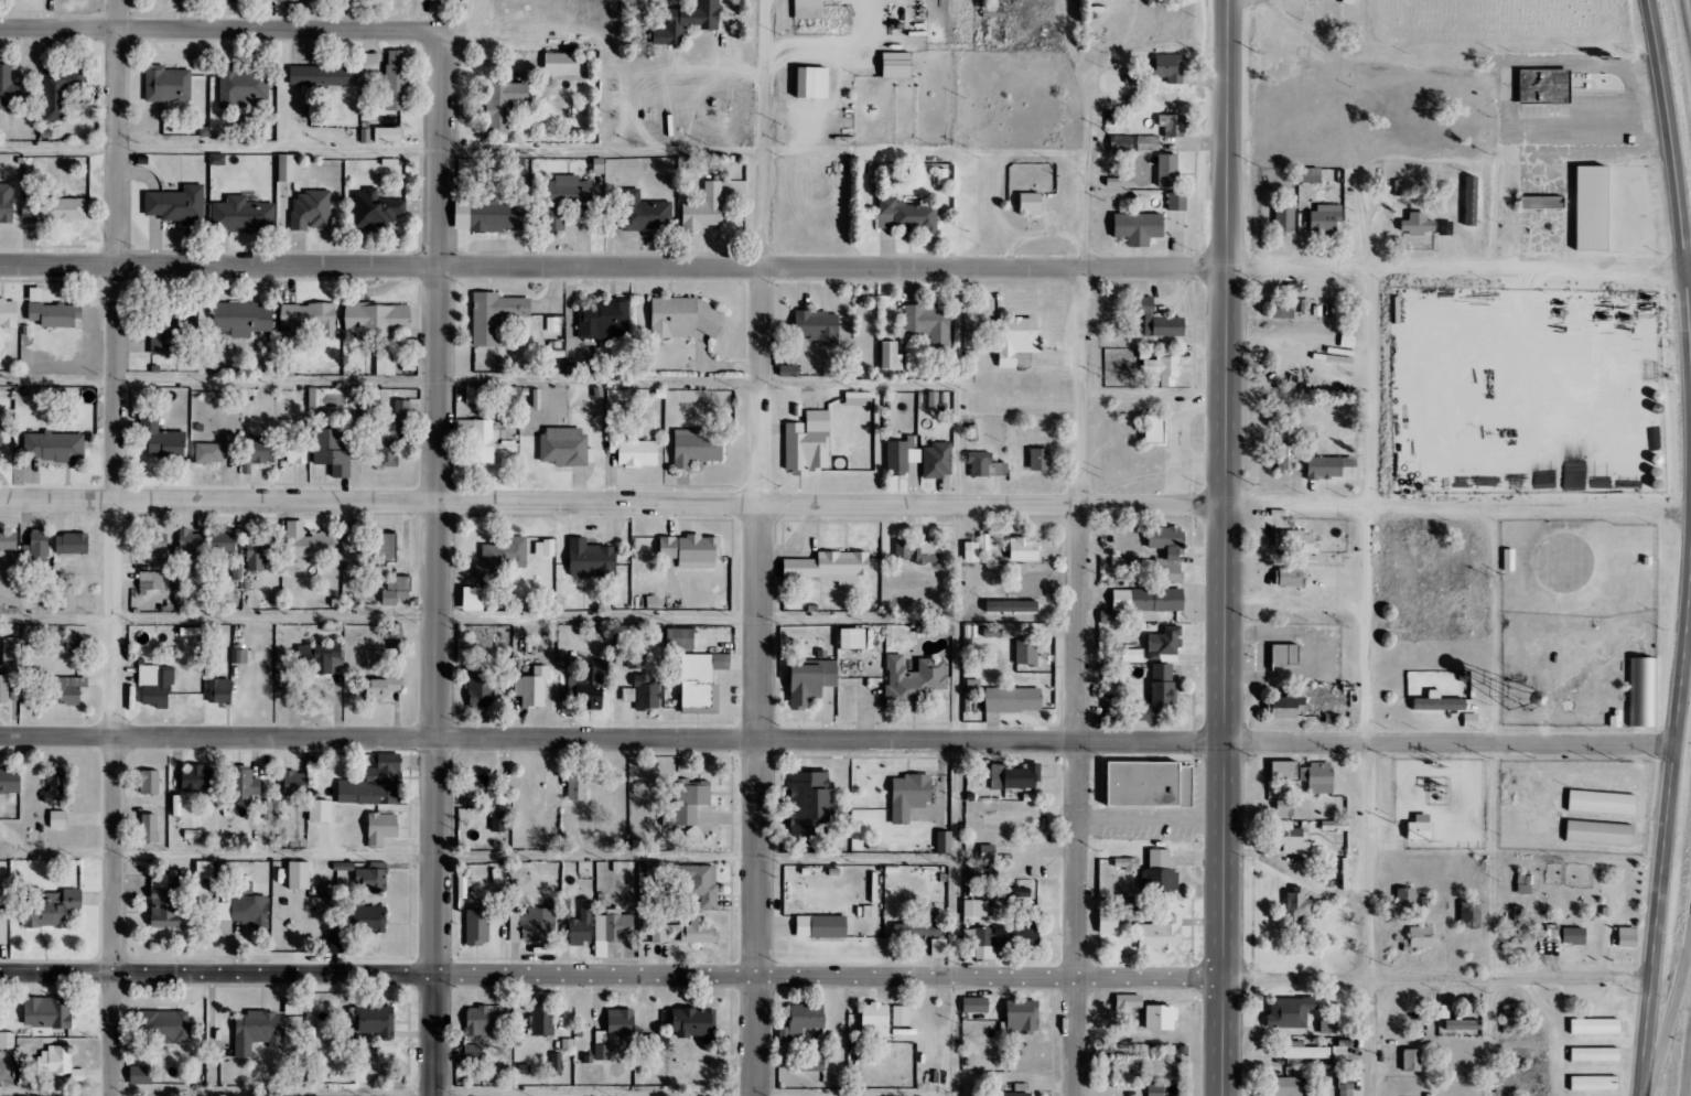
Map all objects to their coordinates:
building: (185, 1)
building: (1357, 4)
building: (817, 10)
building: (993, 11)
building: (1002, 15)
road: (1685, 20)
building: (699, 24)
road: (223, 29)
road: (472, 32)
building: (369, 61)
building: (563, 63)
building: (905, 68)
building: (1177, 71)
building: (324, 76)
building: (397, 80)
building: (168, 84)
building: (821, 84)
building: (244, 86)
building: (61, 87)
building: (1552, 88)
building: (12, 89)
building: (505, 104)
building: (1182, 128)
building: (390, 135)
building: (1146, 142)
building: (1156, 146)
building: (1130, 147)
road: (381, 149)
building: (217, 159)
building: (290, 168)
building: (1176, 172)
building: (1305, 175)
building: (1318, 179)
building: (951, 181)
building: (1407, 190)
road: (1677, 191)
building: (1454, 192)
building: (561, 198)
building: (7, 203)
building: (1550, 203)
building: (1185, 204)
building: (180, 205)
building: (1040, 206)
building: (707, 208)
building: (54, 209)
building: (376, 209)
building: (1601, 209)
building: (311, 211)
building: (645, 212)
building: (491, 213)
building: (243, 215)
building: (1280, 218)
building: (918, 219)
building: (1320, 219)
building: (1337, 222)
building: (1293, 223)
building: (1411, 224)
building: (1425, 228)
building: (1146, 230)
road: (842, 268)
building: (1277, 309)
building: (53, 312)
building: (9, 313)
building: (496, 315)
building: (310, 316)
building: (241, 319)
building: (605, 319)
building: (687, 319)
building: (376, 321)
building: (1165, 321)
building: (928, 324)
building: (818, 326)
building: (166, 327)
building: (1021, 343)
building: (891, 356)
building: (1163, 369)
road: (483, 387)
building: (858, 399)
building: (1163, 429)
building: (391, 436)
building: (477, 440)
building: (163, 441)
building: (0, 442)
building: (809, 443)
building: (55, 447)
building: (564, 447)
building: (698, 447)
building: (217, 450)
building: (298, 451)
building: (332, 452)
building: (257, 453)
building: (639, 453)
building: (902, 456)
building: (1282, 459)
building: (1041, 460)
building: (937, 461)
building: (985, 465)
building: (1325, 468)
road: (846, 501)
building: (9, 541)
building: (1291, 541)
building: (40, 542)
building: (309, 542)
building: (73, 544)
building: (203, 544)
road: (116, 547)
road: (761, 547)
building: (388, 548)
building: (545, 548)
road: (1225, 548)
building: (980, 549)
building: (1025, 549)
building: (157, 550)
building: (692, 551)
building: (920, 551)
building: (261, 554)
building: (1167, 554)
building: (502, 557)
building: (592, 559)
road: (438, 561)
building: (830, 568)
building: (1285, 578)
building: (150, 580)
building: (396, 591)
building: (475, 600)
building: (1143, 602)
road: (483, 621)
building: (936, 630)
building: (993, 632)
building: (854, 638)
building: (681, 640)
building: (1164, 643)
building: (1026, 652)
building: (10, 655)
building: (239, 656)
building: (470, 656)
building: (1280, 656)
building: (321, 657)
building: (635, 657)
building: (1108, 677)
building: (914, 680)
road: (965, 681)
road: (1076, 681)
road: (1368, 681)
building: (812, 683)
building: (157, 687)
building: (588, 687)
building: (532, 688)
building: (66, 690)
building: (8, 691)
building: (220, 691)
building: (481, 694)
building: (644, 694)
building: (1160, 694)
building: (1651, 696)
building: (1014, 700)
building: (1282, 705)
building: (1446, 706)
building: (1113, 714)
road: (837, 739)
building: (1300, 775)
building: (195, 777)
building: (1015, 777)
building: (11, 782)
building: (151, 782)
building: (293, 783)
building: (1156, 785)
building: (244, 787)
building: (578, 788)
building: (56, 789)
building: (918, 798)
road: (1505, 803)
building: (692, 804)
building: (810, 804)
building: (1611, 805)
building: (1284, 808)
building: (268, 810)
building: (321, 812)
building: (498, 818)
building: (58, 820)
road: (1666, 827)
building: (149, 828)
building: (1414, 828)
building: (383, 829)
building: (1609, 835)
building: (1285, 840)
building: (944, 842)
building: (954, 845)
building: (989, 856)
road: (482, 862)
building: (344, 867)
building: (1129, 869)
building: (205, 870)
building: (987, 874)
building: (301, 875)
building: (1167, 877)
building: (373, 878)
building: (160, 882)
building: (701, 884)
building: (1401, 898)
building: (244, 906)
building: (1294, 906)
building: (51, 909)
building: (976, 909)
building: (165, 911)
building: (1465, 915)
building: (370, 920)
building: (531, 925)
building: (1118, 925)
building: (1517, 925)
building: (3, 926)
building: (477, 926)
building: (610, 927)
building: (822, 927)
building: (919, 930)
building: (687, 931)
building: (1568, 936)
building: (1168, 937)
building: (1415, 937)
building: (1622, 937)
building: (1000, 941)
building: (338, 944)
building: (939, 948)
road: (826, 977)
building: (1128, 1003)
building: (976, 1006)
building: (1284, 1012)
building: (47, 1014)
building: (901, 1016)
building: (1161, 1018)
building: (1023, 1019)
road: (1670, 1020)
building: (376, 1021)
building: (480, 1021)
building: (542, 1021)
building: (876, 1021)
building: (801, 1022)
building: (1457, 1025)
building: (1324, 1027)
building: (1590, 1027)
building: (164, 1028)
building: (258, 1031)
building: (615, 1032)
building: (8, 1041)
building: (654, 1043)
building: (1300, 1052)
building: (472, 1054)
building: (1591, 1055)
building: (55, 1060)
building: (1408, 1061)
building: (556, 1064)
building: (812, 1065)
building: (141, 1075)
building: (26, 1076)
building: (1590, 1084)
building: (1342, 1085)
building: (1282, 1087)
building: (1155, 1089)
road: (270, 1093)
building: (1019, 1094)

